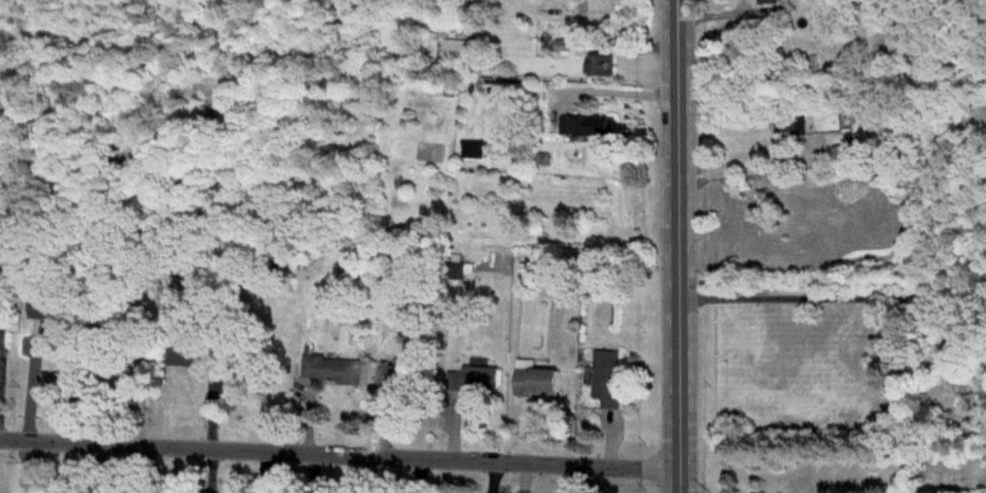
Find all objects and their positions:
building: (770, 2)
building: (456, 52)
building: (600, 65)
road: (623, 93)
building: (584, 126)
building: (784, 133)
building: (472, 149)
building: (902, 180)
road: (678, 246)
road: (832, 297)
building: (52, 308)
building: (124, 331)
building: (3, 340)
building: (193, 357)
building: (330, 370)
building: (401, 376)
building: (606, 378)
building: (470, 379)
building: (534, 381)
road: (30, 386)
road: (339, 454)

